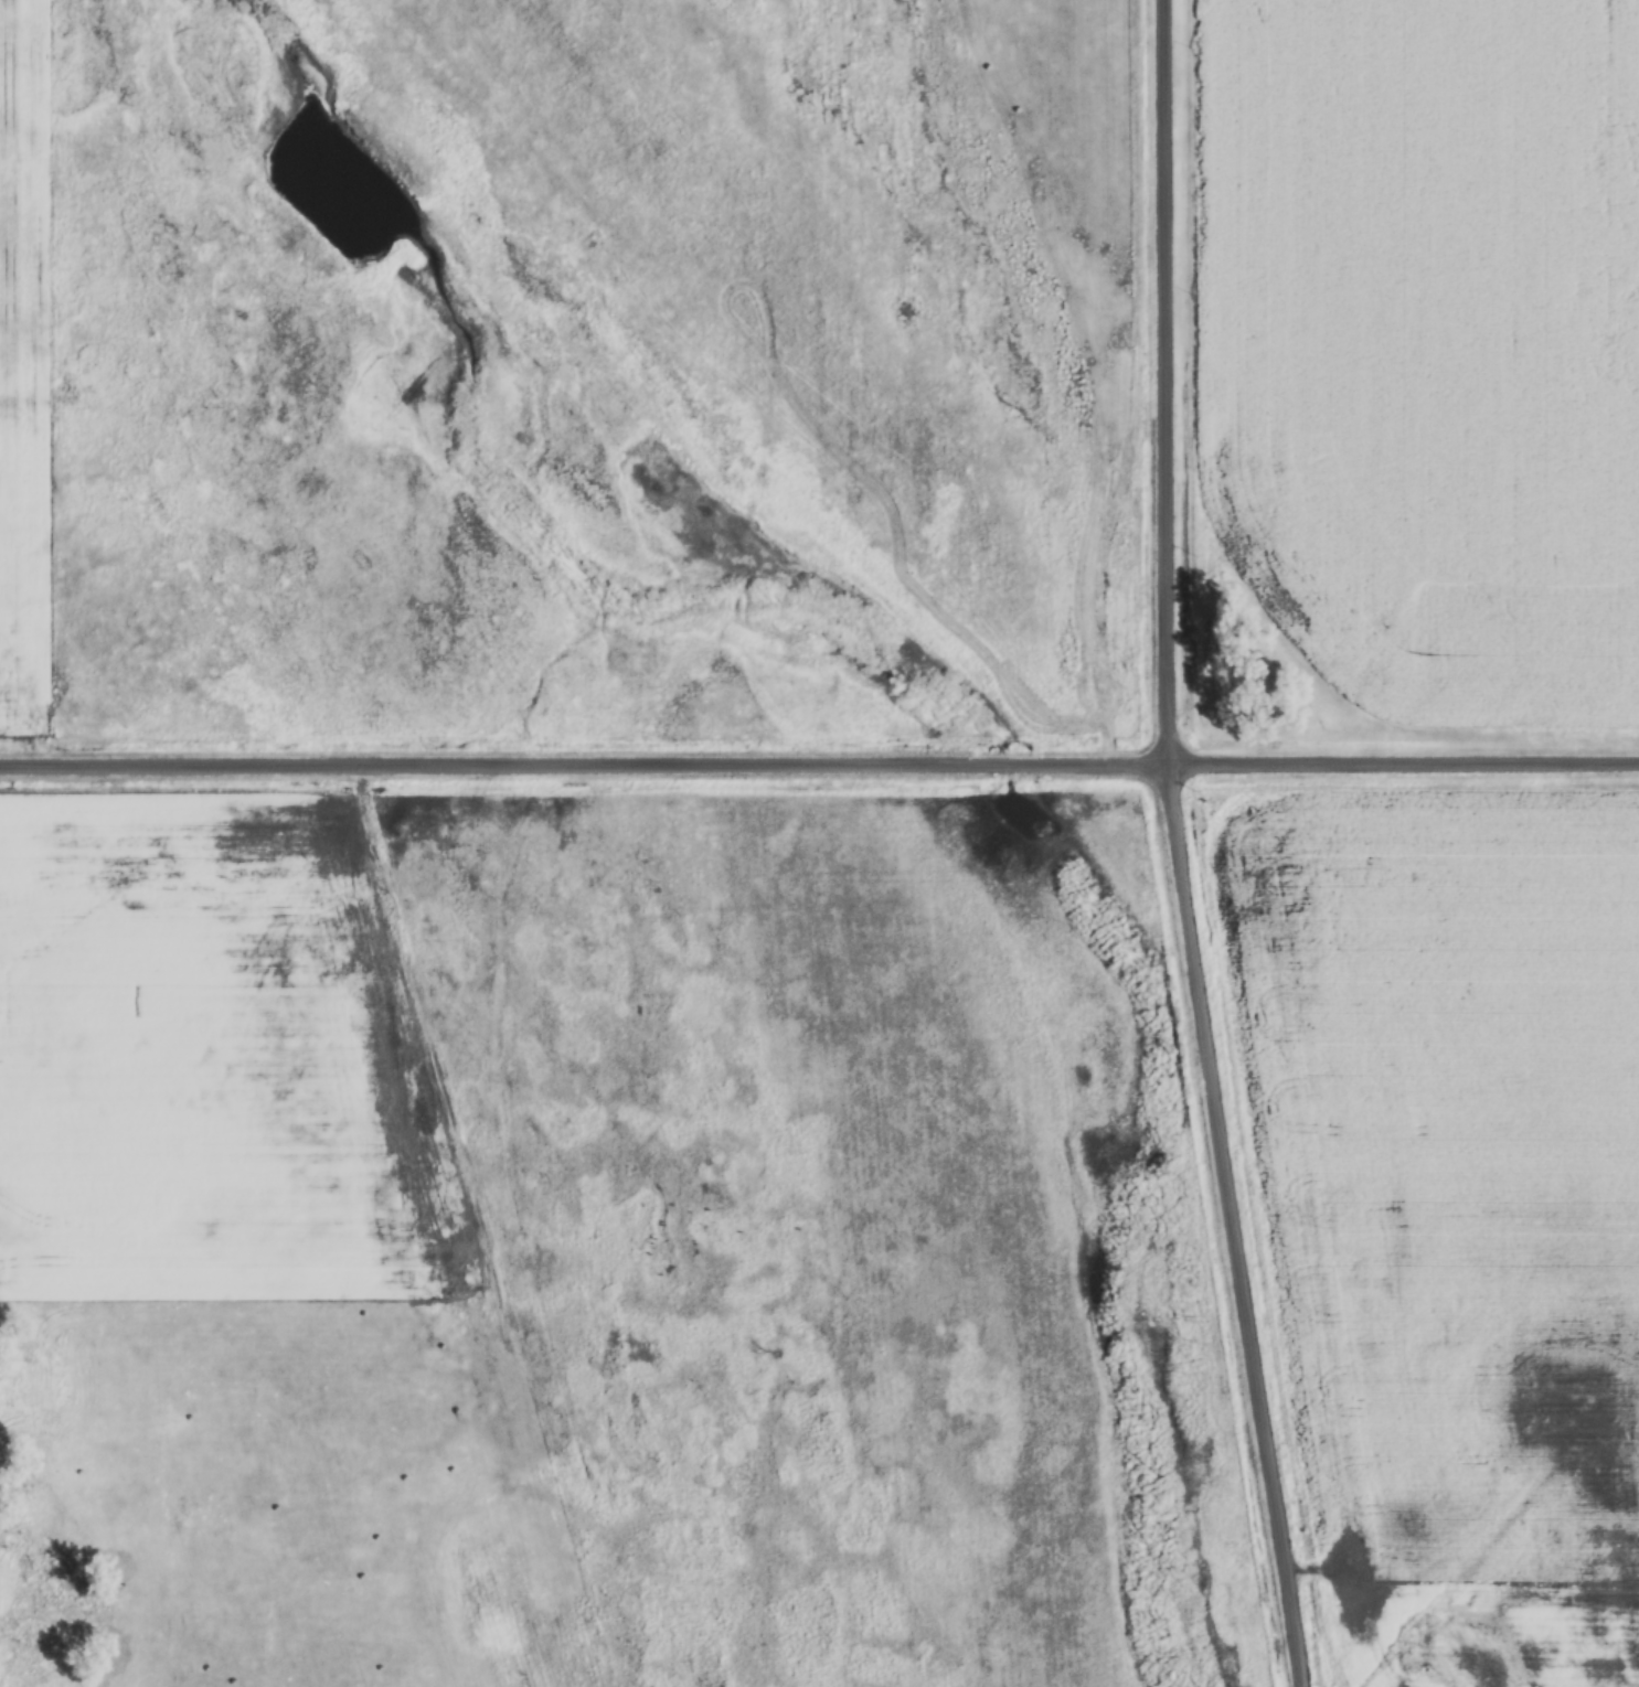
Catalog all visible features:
road: (819, 769)
road: (1177, 847)

